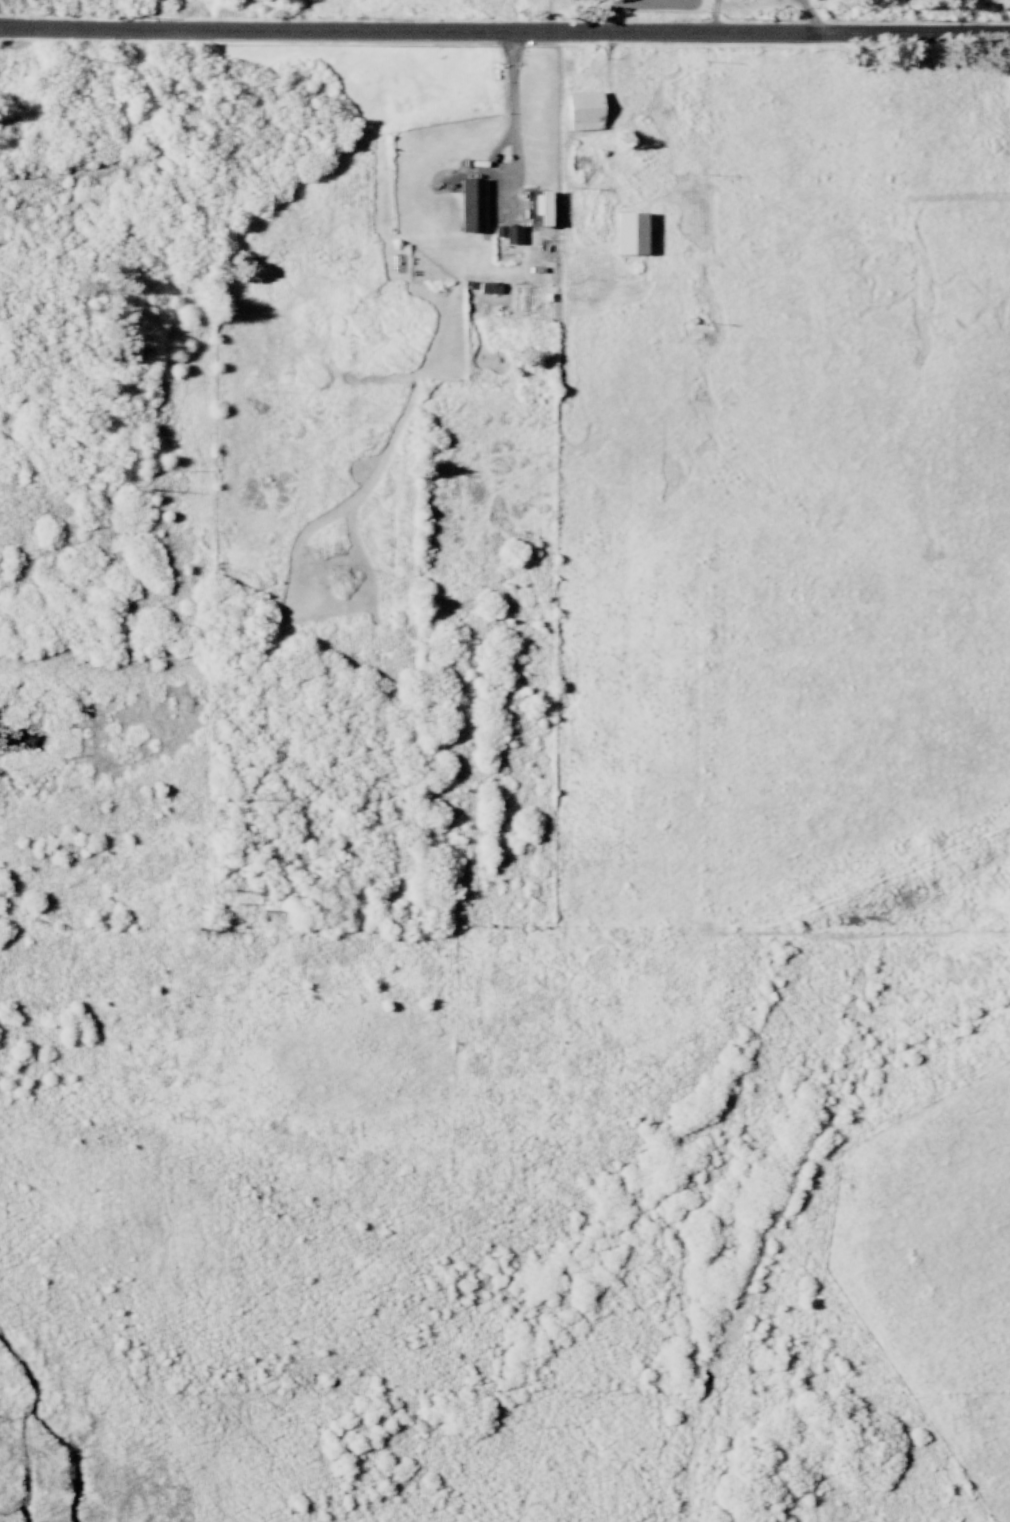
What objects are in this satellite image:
road: (809, 16)
road: (714, 18)
road: (505, 35)
road: (609, 71)
building: (579, 109)
road: (512, 117)
building: (467, 204)
building: (535, 206)
building: (495, 230)
building: (625, 232)
building: (509, 233)
building: (486, 286)

